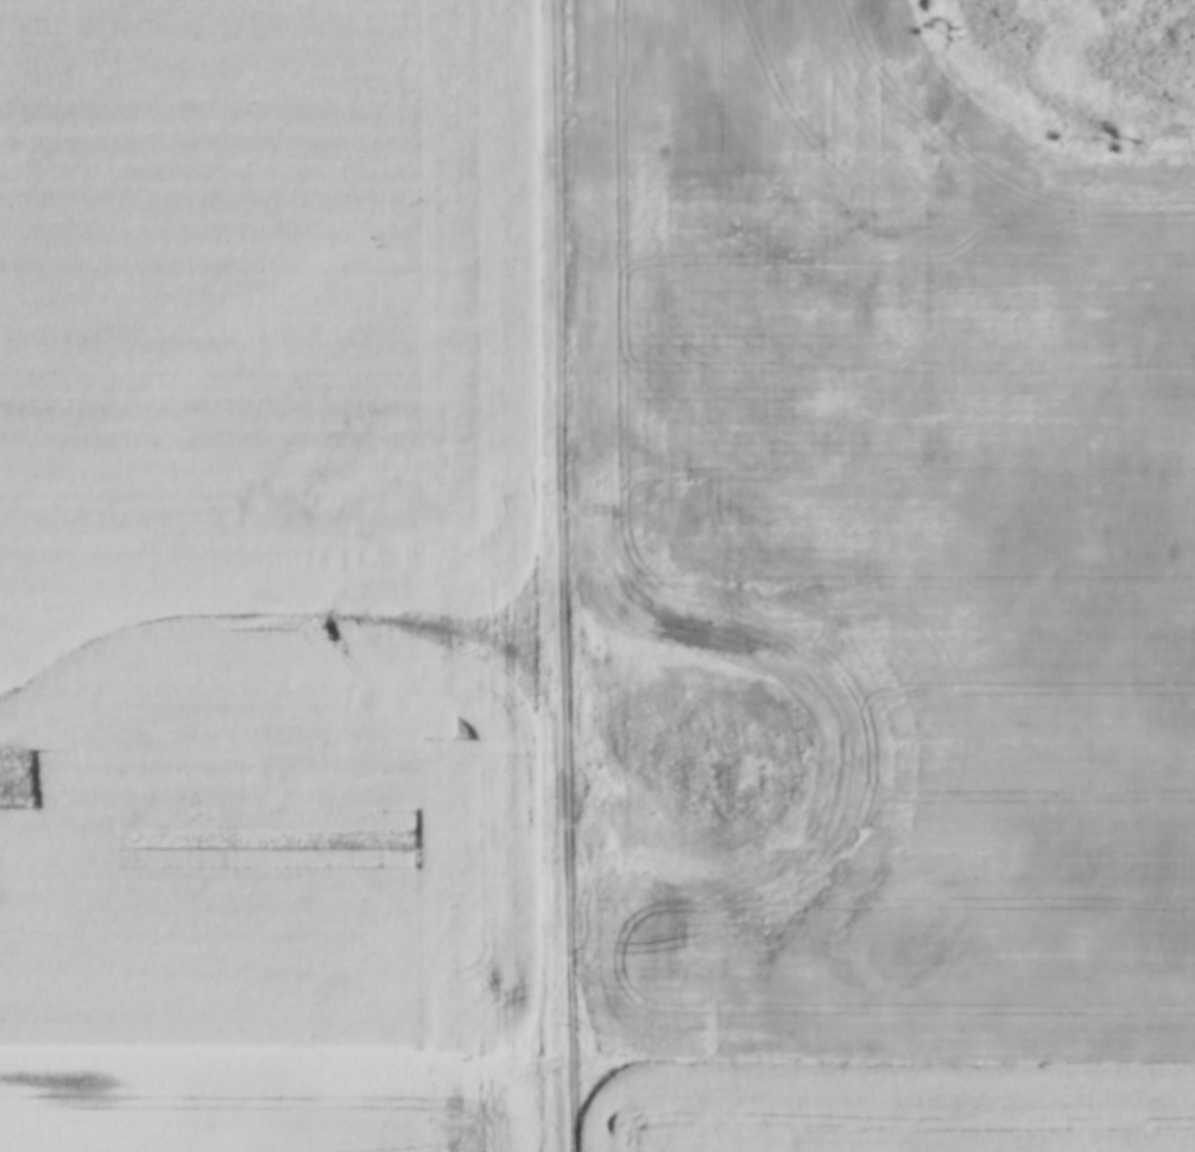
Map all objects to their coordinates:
road: (565, 576)
road: (597, 1051)

